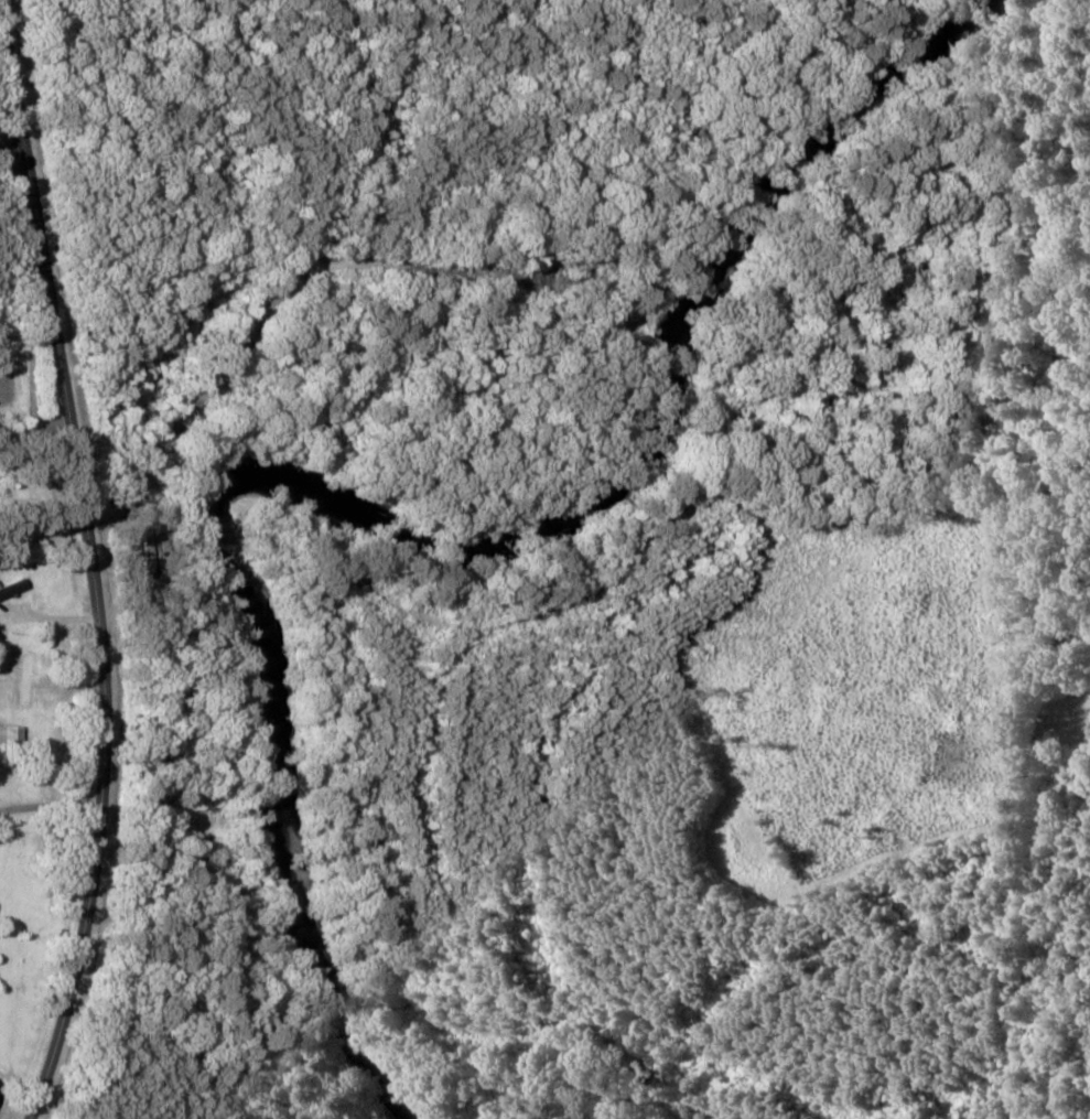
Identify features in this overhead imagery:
road: (4, 142)
road: (91, 560)
building: (12, 589)
building: (26, 681)
building: (11, 738)

